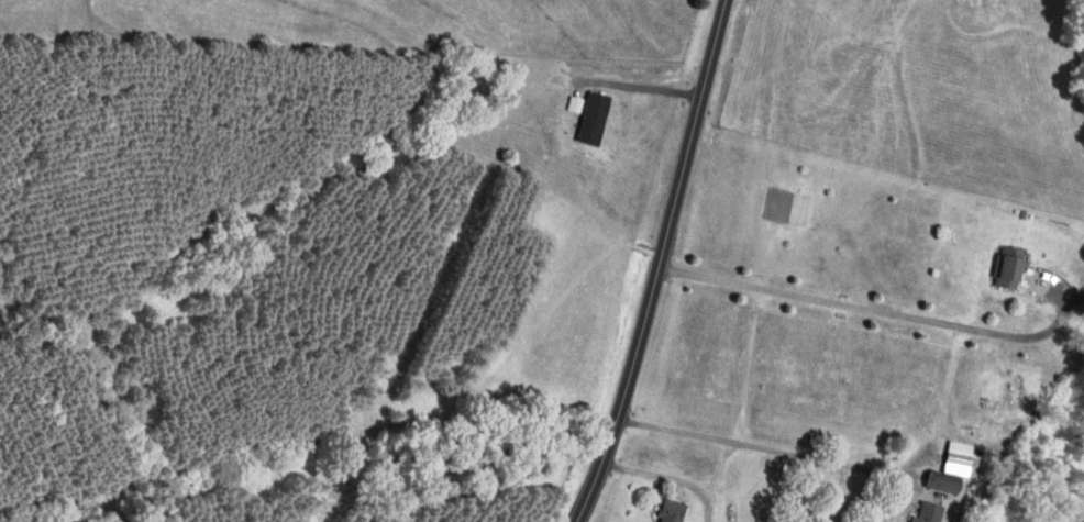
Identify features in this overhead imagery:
road: (645, 85)
building: (596, 116)
road: (661, 264)
building: (999, 266)
road: (882, 311)
road: (764, 447)
building: (950, 456)
road: (663, 476)
building: (931, 481)
building: (674, 509)
building: (921, 512)

